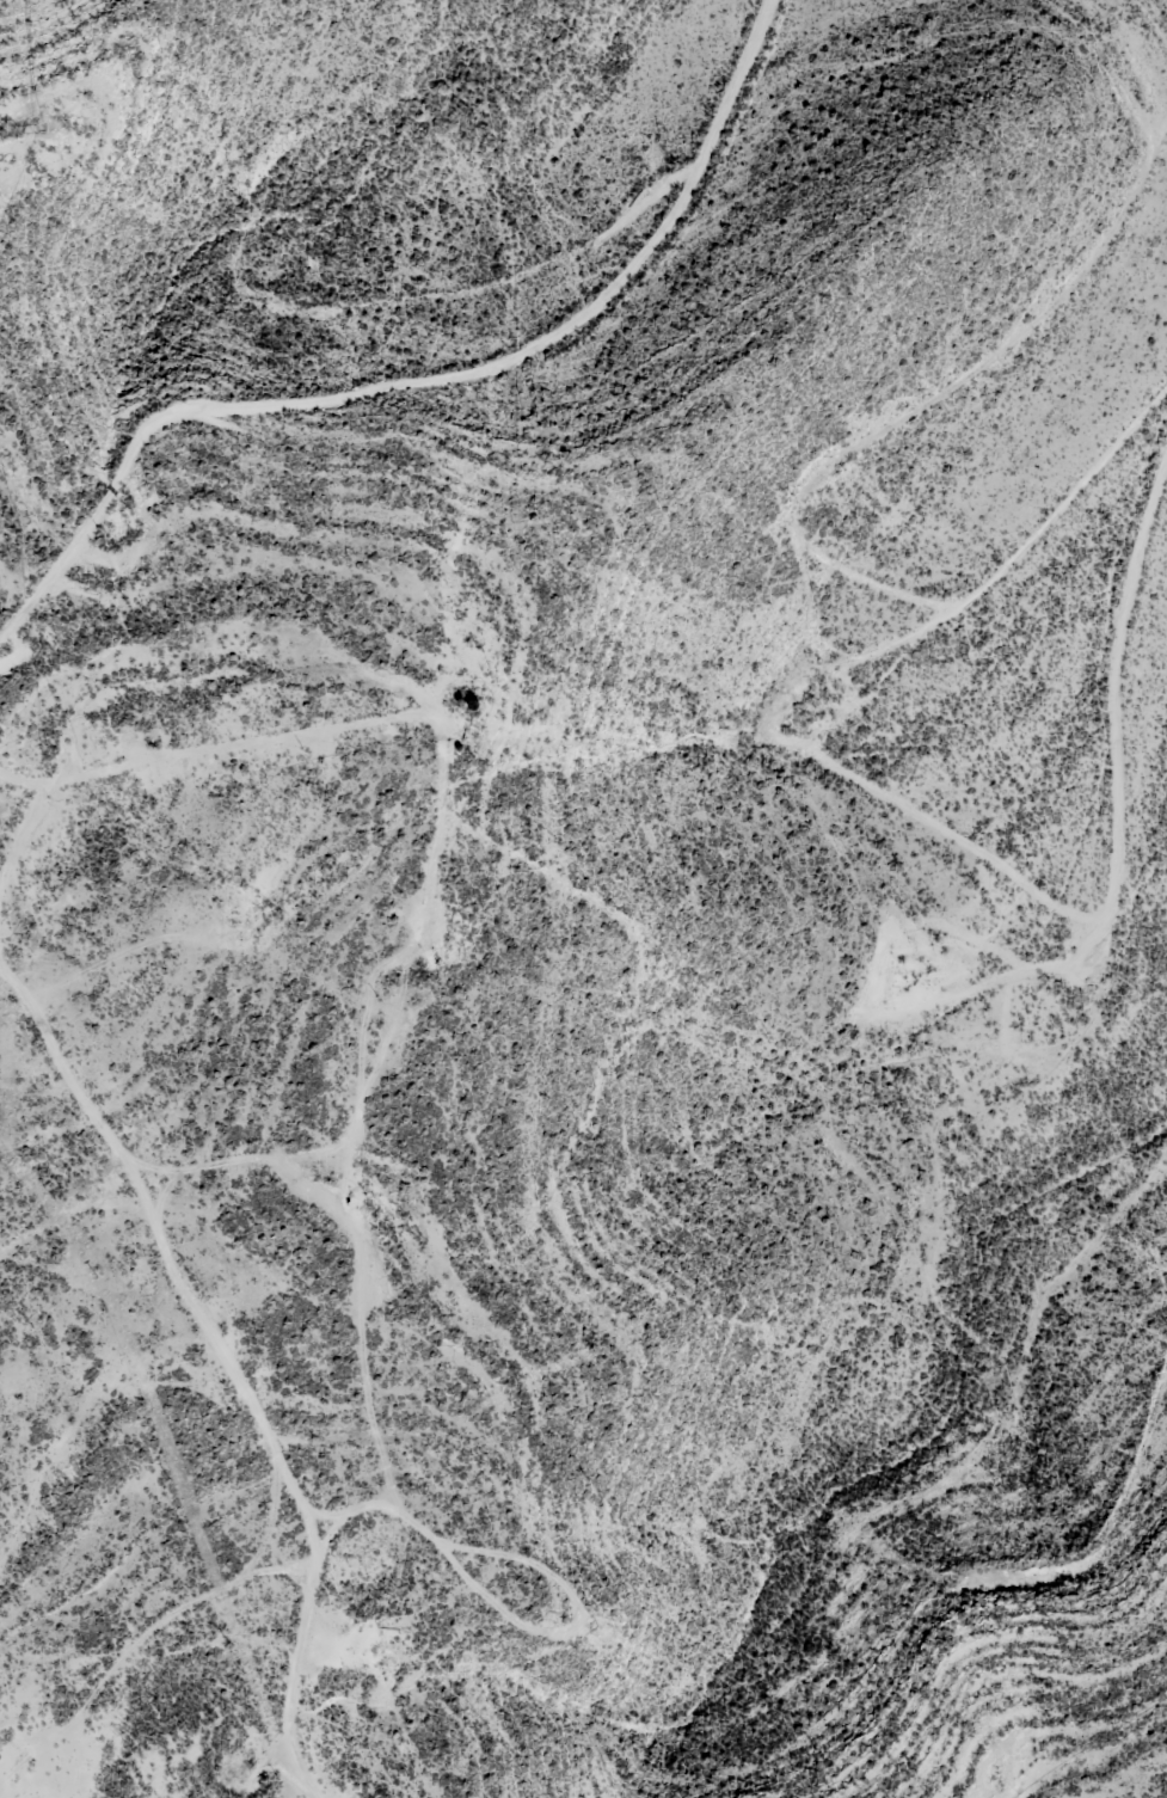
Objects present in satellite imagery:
road: (416, 385)
road: (232, 1381)

